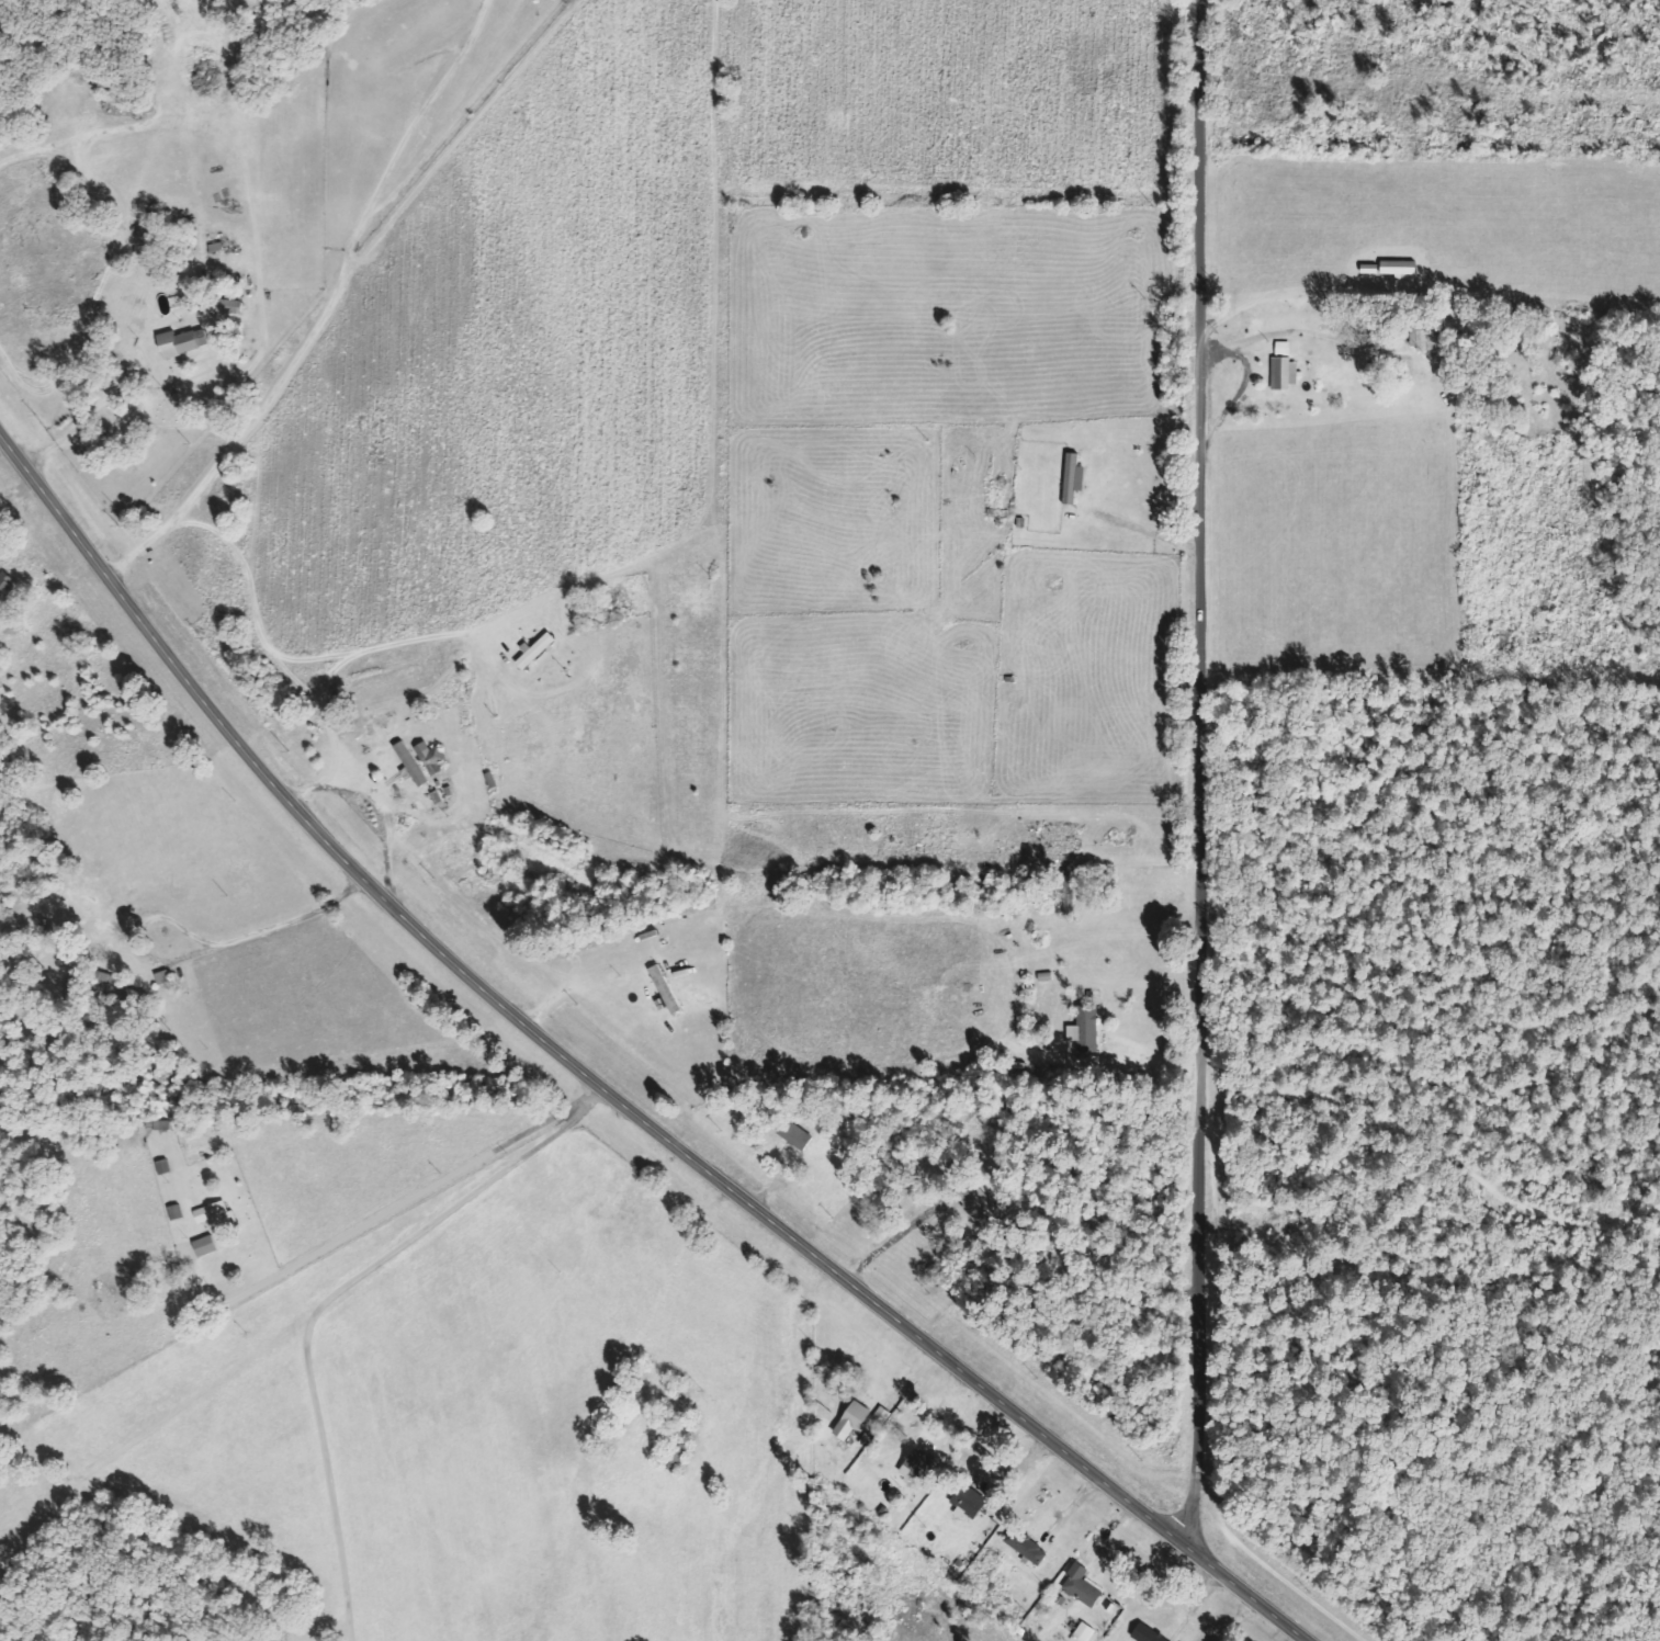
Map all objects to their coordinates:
building: (1402, 268)
road: (331, 282)
building: (184, 342)
building: (1286, 367)
building: (5, 580)
building: (434, 758)
building: (413, 766)
road: (1201, 769)
road: (273, 927)
building: (1089, 1029)
road: (598, 1085)
building: (798, 1134)
road: (407, 1200)
building: (178, 1212)
building: (218, 1216)
building: (207, 1246)
road: (327, 1301)
building: (884, 1415)
building: (856, 1421)
building: (921, 1464)
building: (971, 1503)
building: (1028, 1547)
building: (1084, 1586)
building: (1086, 1632)
building: (1149, 1633)

